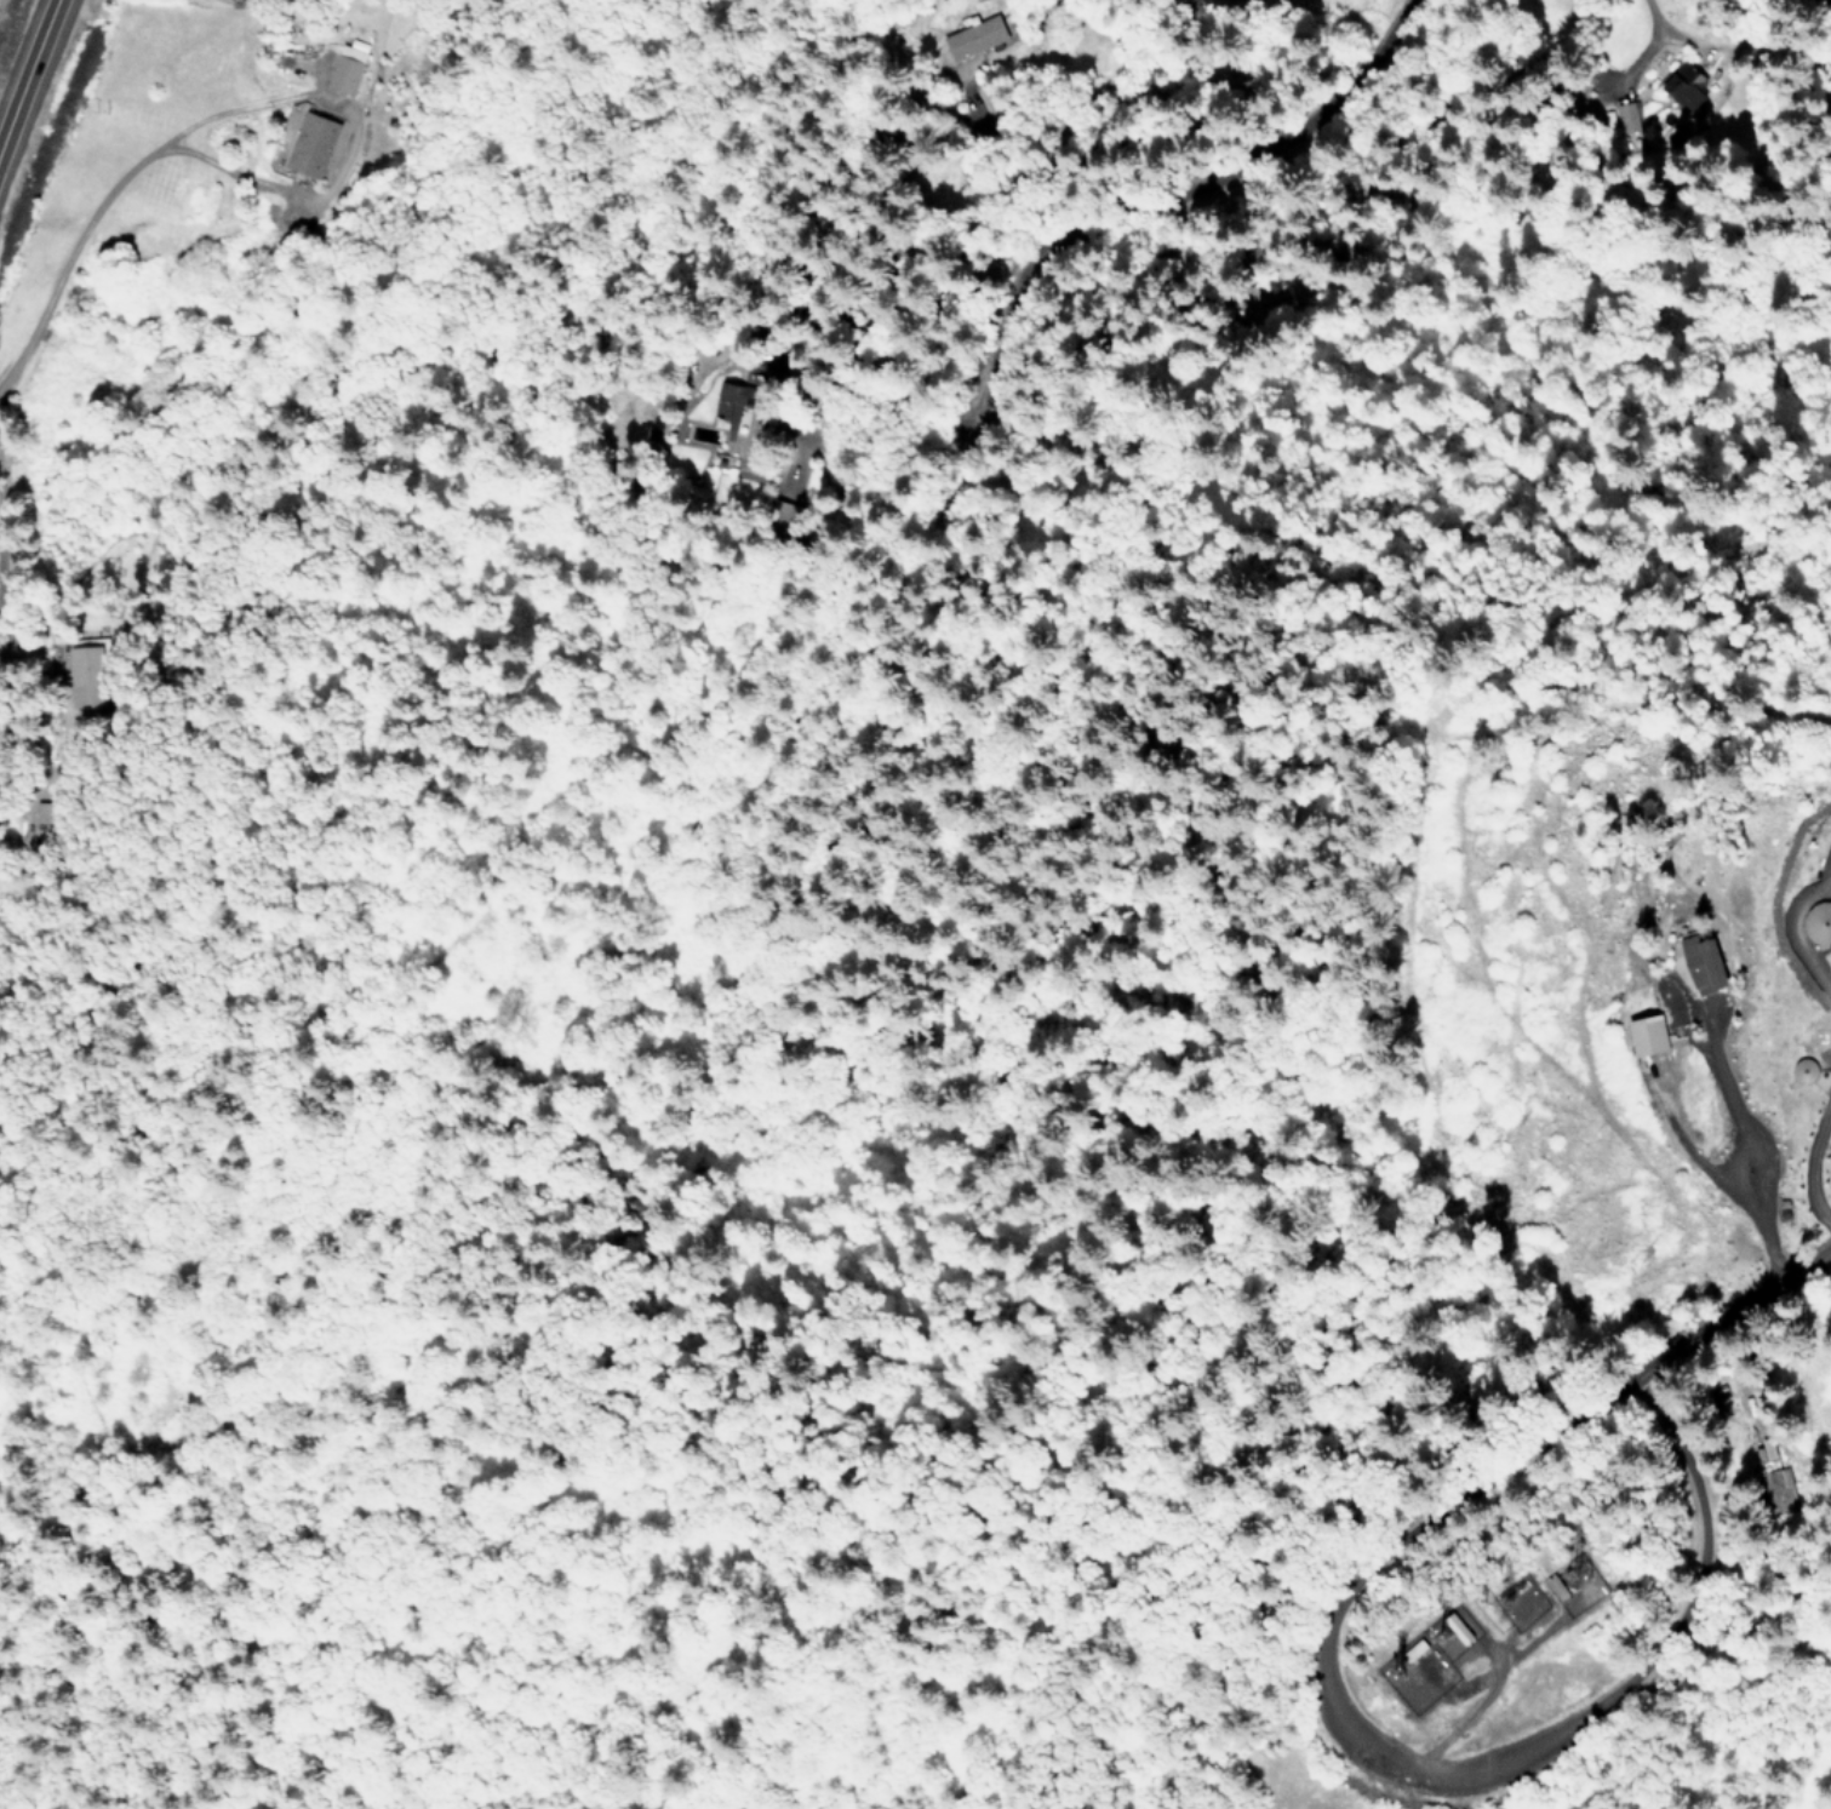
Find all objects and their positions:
building: (972, 40)
road: (23, 63)
building: (341, 75)
building: (1684, 90)
building: (1627, 119)
road: (350, 141)
building: (308, 147)
road: (996, 206)
road: (68, 253)
building: (726, 402)
building: (90, 674)
building: (45, 812)
building: (1823, 918)
road: (1804, 928)
building: (1694, 957)
building: (1642, 1035)
building: (1809, 1067)
road: (1813, 1168)
road: (1732, 1316)
building: (1769, 1449)
building: (1775, 1492)
building: (1574, 1587)
building: (1454, 1628)
building: (1411, 1650)
road: (1367, 1750)

